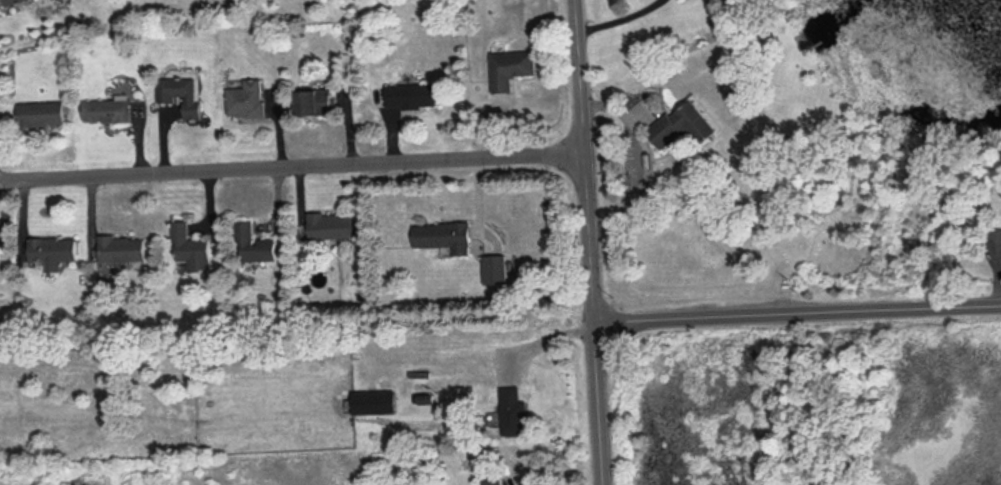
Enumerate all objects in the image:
building: (9, 1)
road: (618, 21)
building: (511, 67)
building: (181, 94)
building: (412, 94)
building: (246, 98)
building: (315, 100)
building: (107, 109)
building: (41, 112)
building: (682, 124)
road: (647, 156)
road: (292, 162)
road: (585, 163)
building: (331, 224)
building: (444, 235)
building: (254, 242)
building: (122, 247)
building: (191, 247)
building: (52, 250)
building: (495, 268)
road: (799, 316)
road: (545, 339)
building: (374, 401)
road: (601, 405)
building: (513, 411)
building: (499, 484)

